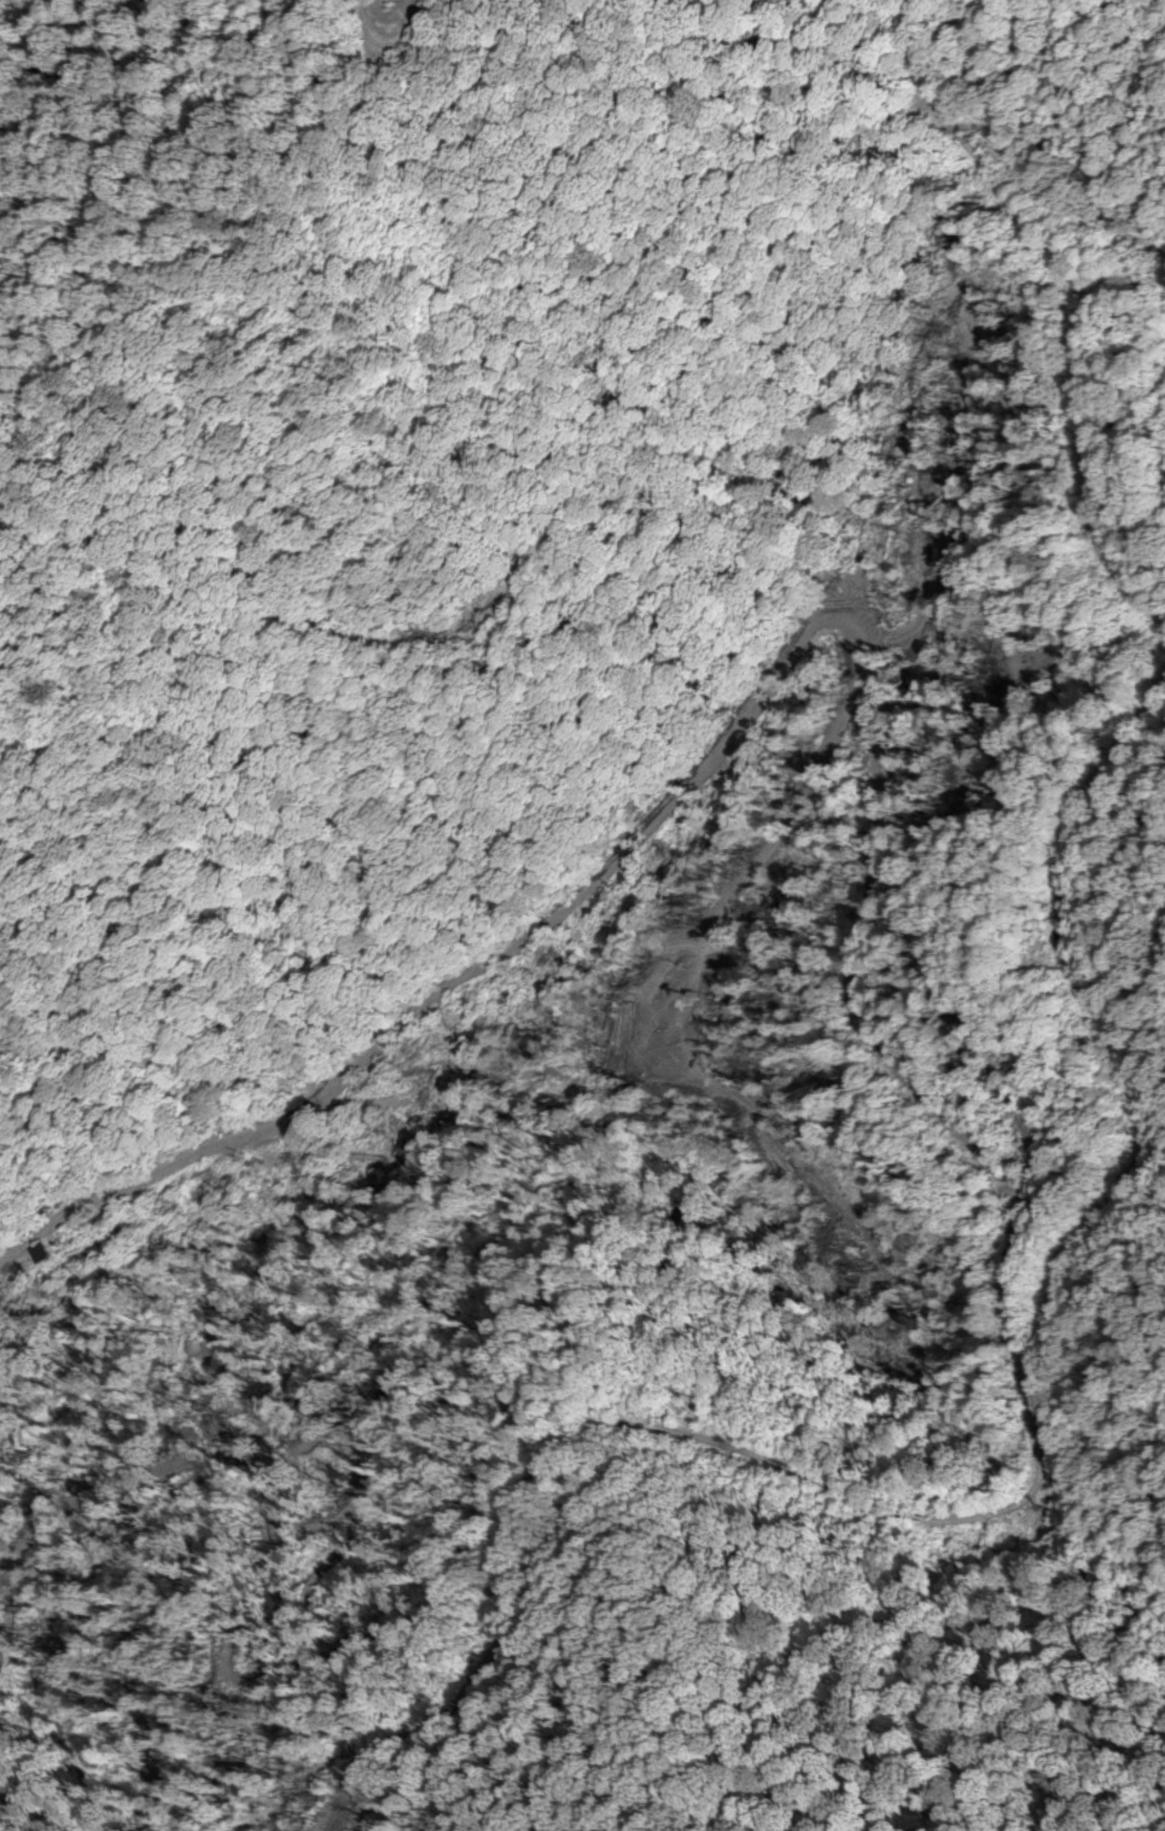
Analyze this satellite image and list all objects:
road: (24, 1254)

